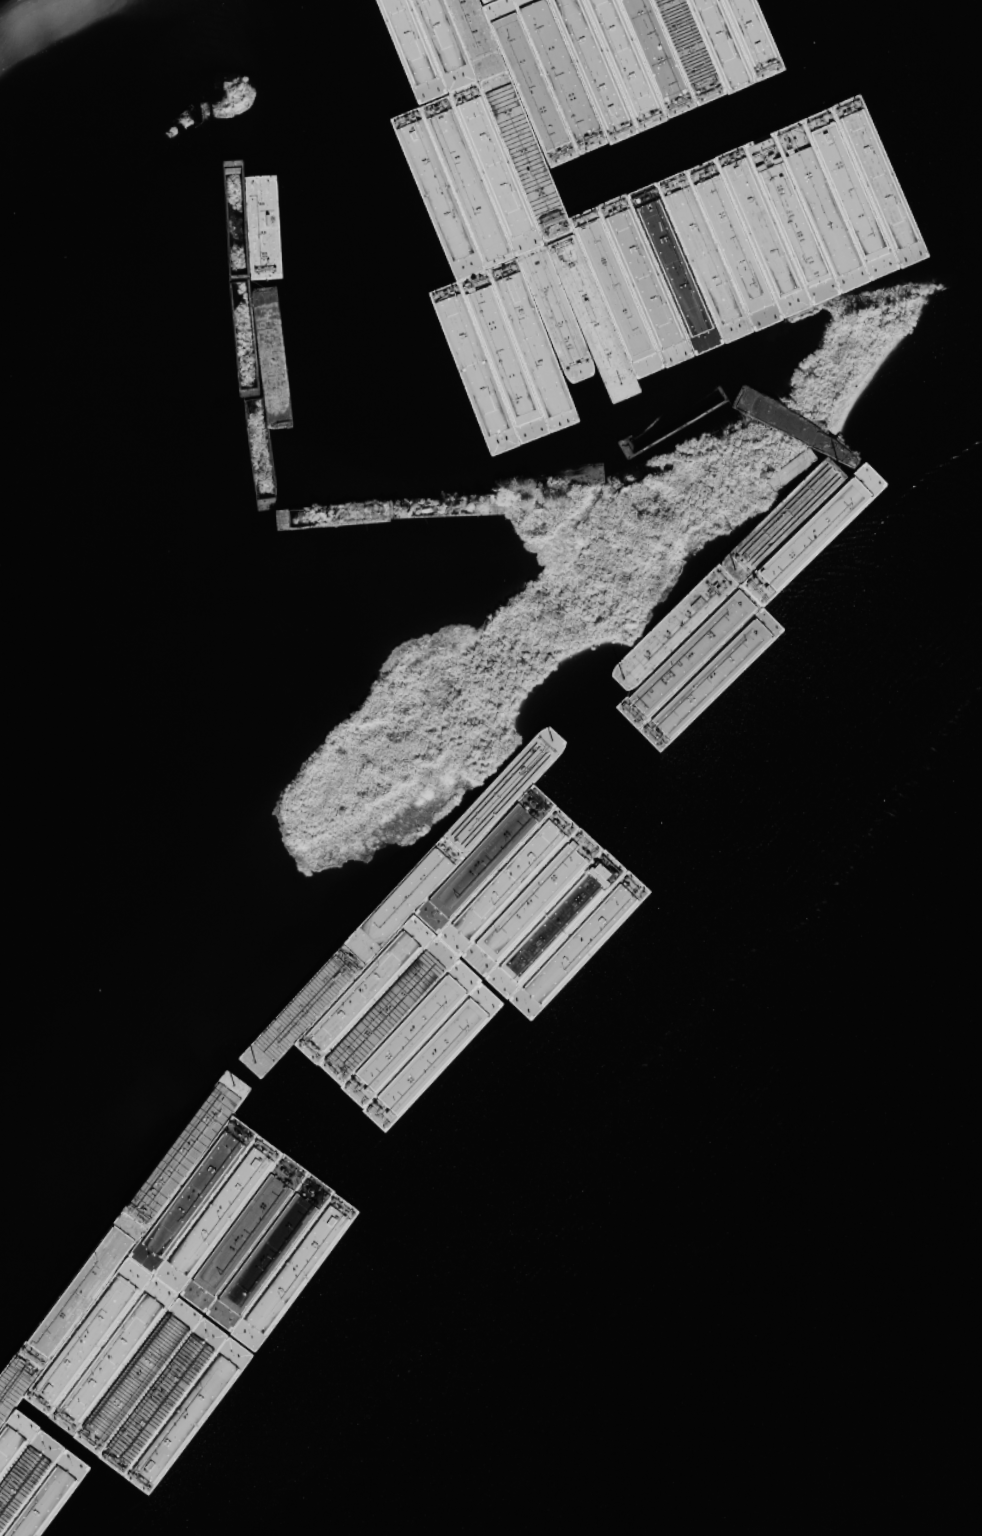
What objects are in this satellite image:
river: (777, 1247)

